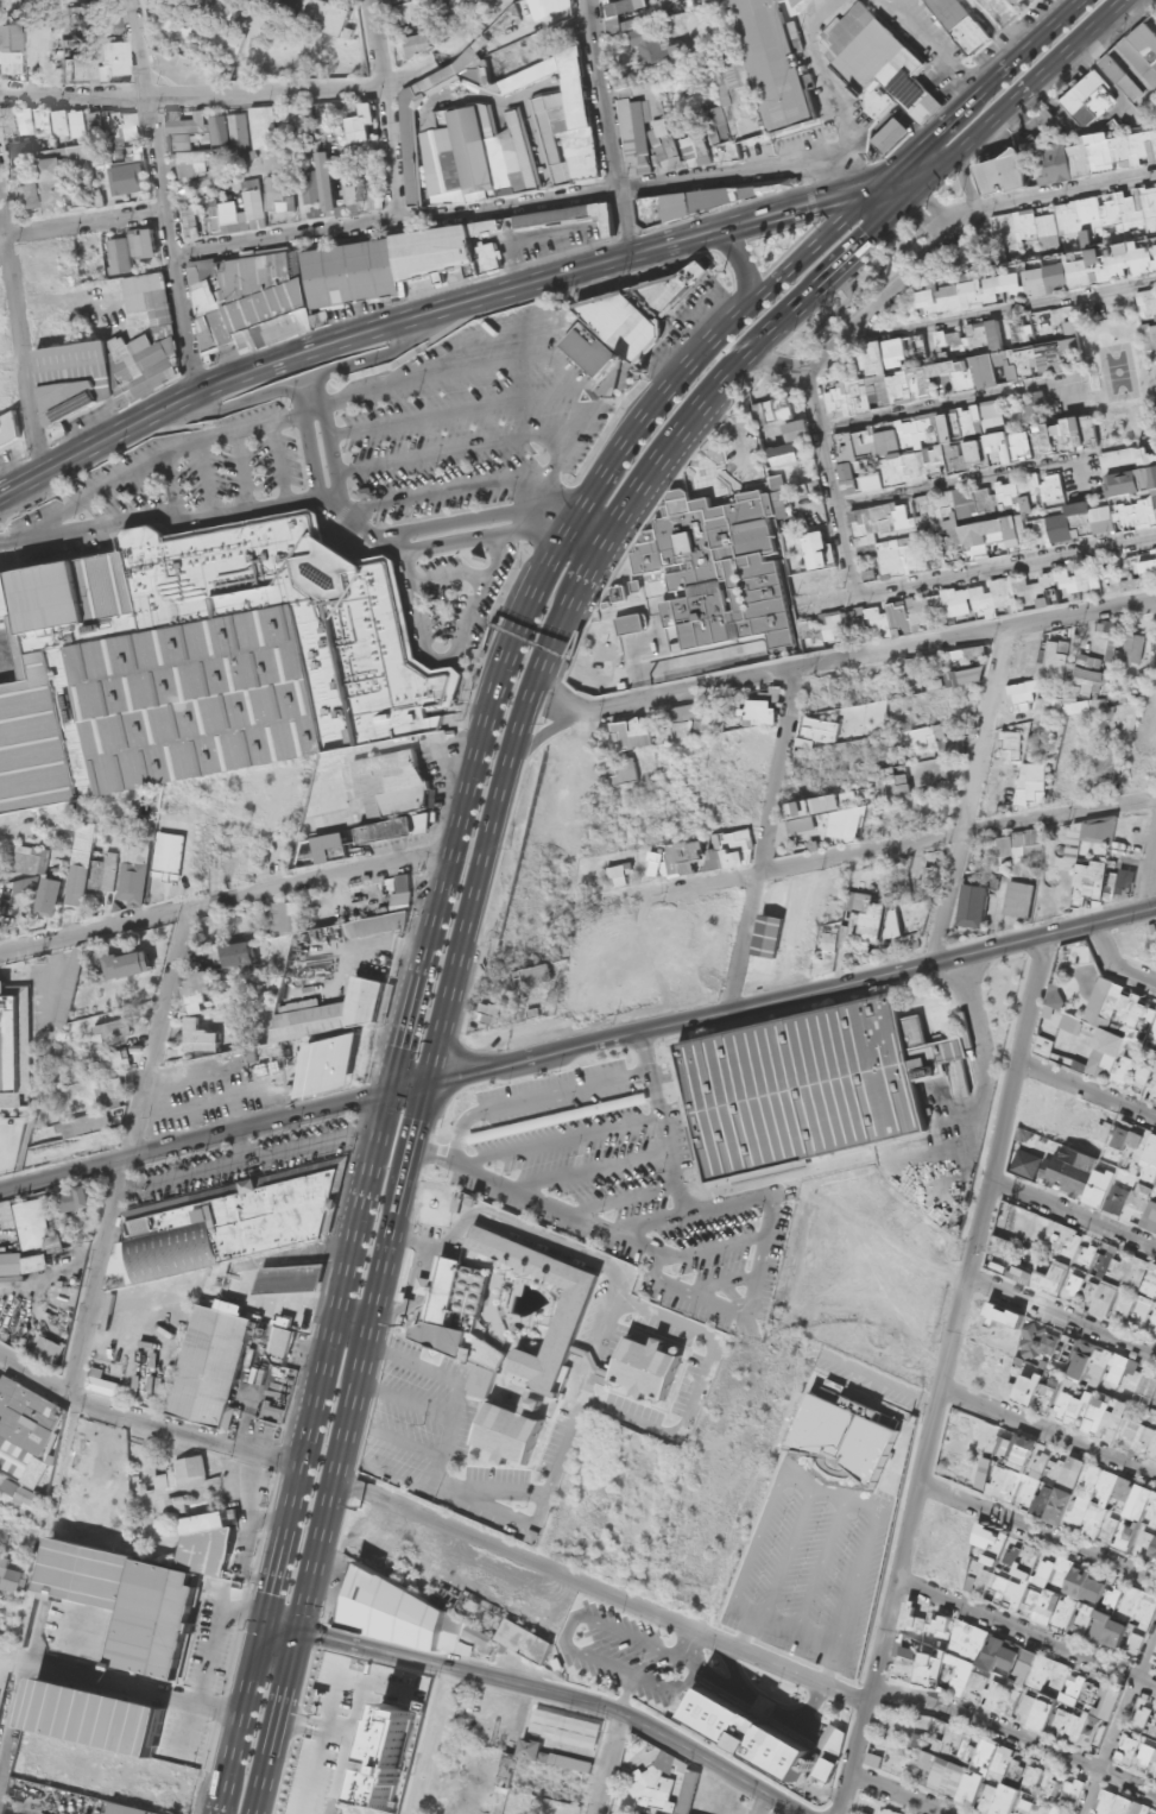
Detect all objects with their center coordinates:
parking lot: (369, 475)
parking lot: (618, 1185)

